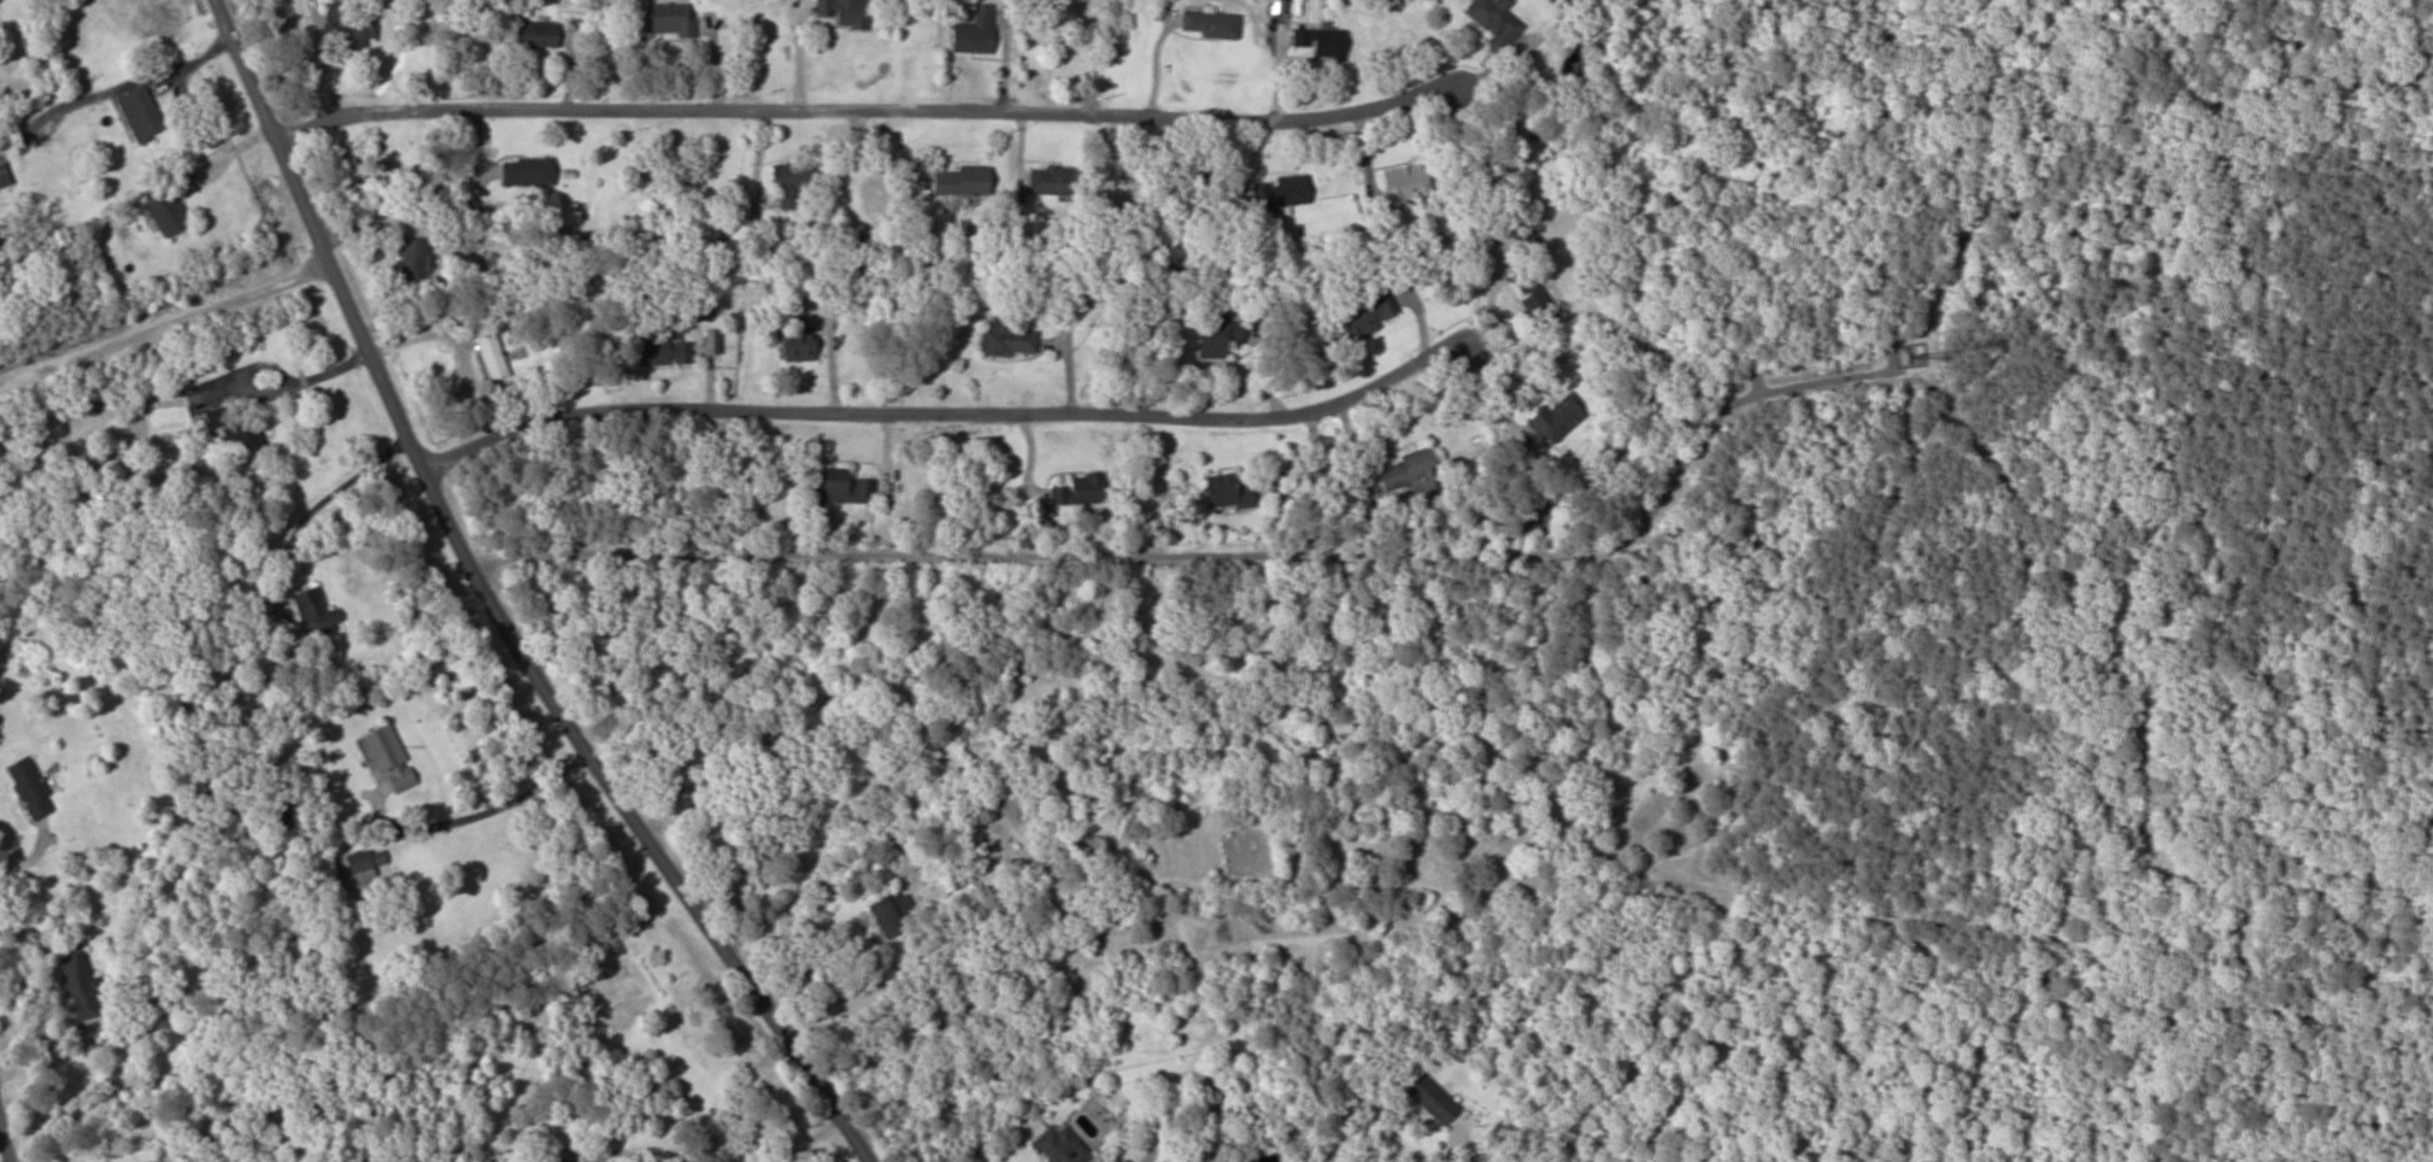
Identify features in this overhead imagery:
building: (841, 12)
building: (668, 18)
building: (1493, 20)
building: (1207, 23)
building: (347, 25)
building: (972, 31)
building: (531, 34)
building: (1320, 41)
road: (825, 93)
building: (139, 115)
building: (525, 171)
building: (2, 176)
building: (1053, 180)
building: (958, 181)
building: (788, 182)
building: (1404, 184)
building: (1280, 190)
building: (165, 213)
building: (1523, 236)
building: (413, 259)
building: (493, 266)
building: (1533, 300)
building: (705, 309)
building: (1364, 315)
building: (1218, 336)
building: (1006, 338)
building: (797, 345)
building: (659, 348)
building: (488, 354)
road: (928, 406)
building: (1556, 418)
building: (236, 436)
building: (1411, 471)
building: (839, 486)
building: (1079, 489)
building: (1224, 491)
building: (1540, 518)
road: (513, 595)
building: (313, 612)
building: (387, 761)
building: (27, 788)
building: (360, 868)
building: (889, 914)
building: (76, 985)
building: (1201, 1084)
building: (1430, 1099)
road: (6, 1134)
building: (1058, 1146)

